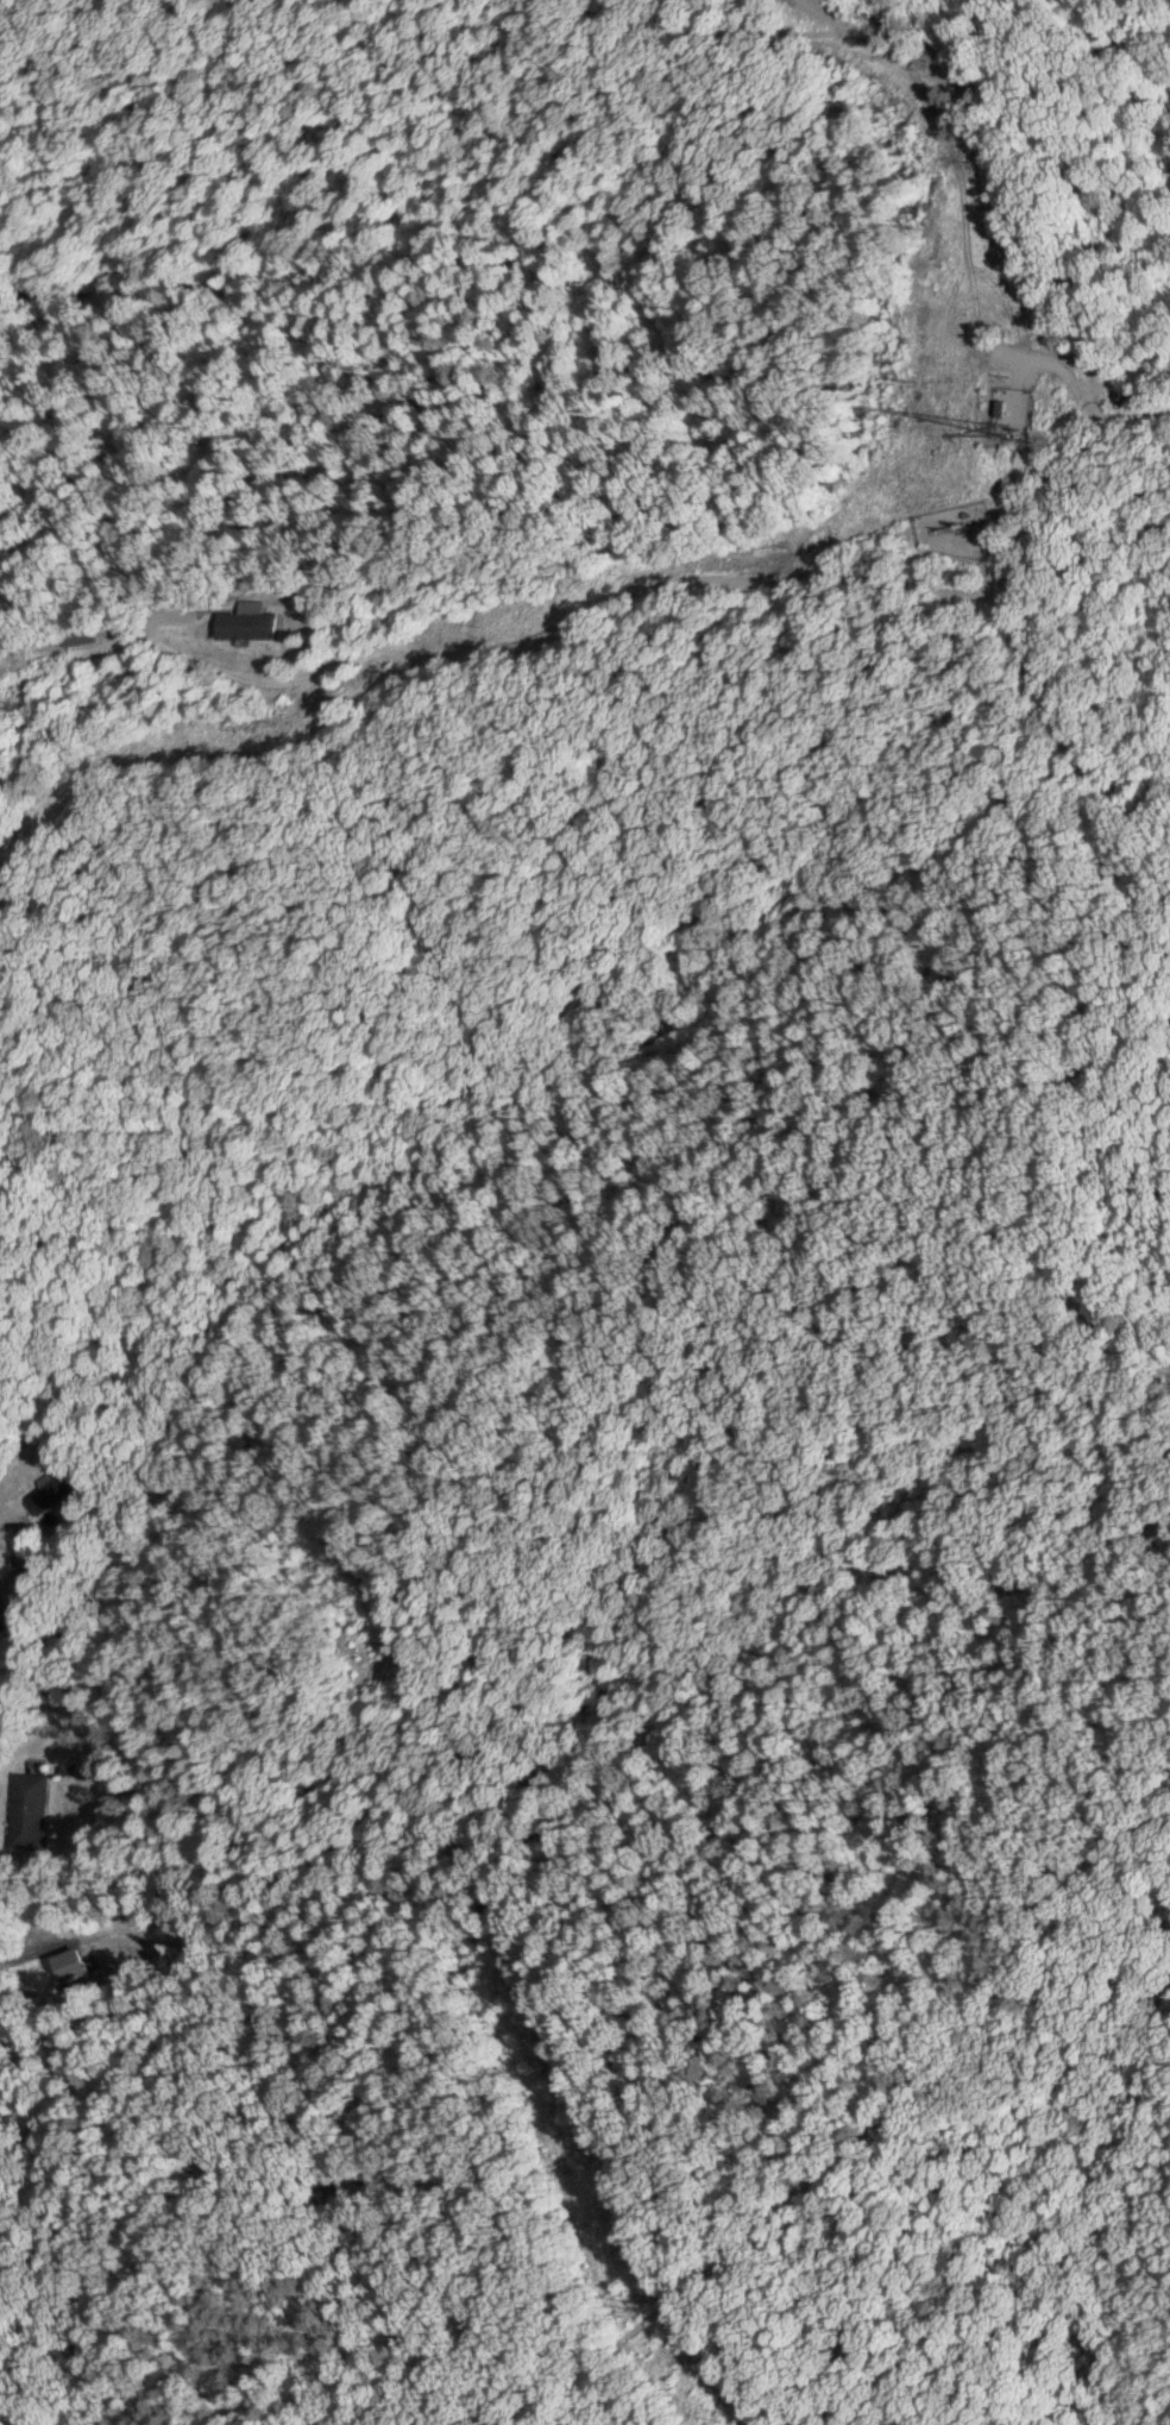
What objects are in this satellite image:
building: (1127, 392)
road: (814, 560)
building: (240, 622)
building: (76, 634)
building: (57, 1490)
building: (19, 1550)
road: (38, 1692)
building: (27, 1810)

